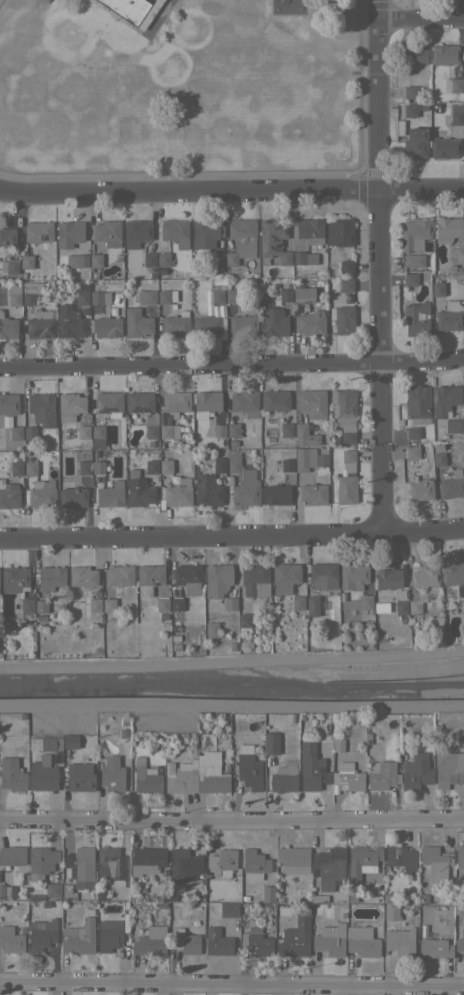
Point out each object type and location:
building: (129, 10)
road: (421, 18)
building: (414, 53)
building: (444, 53)
building: (453, 85)
building: (409, 92)
building: (409, 110)
building: (456, 117)
building: (399, 127)
building: (463, 130)
building: (415, 143)
building: (444, 146)
road: (231, 188)
building: (173, 229)
building: (310, 230)
building: (38, 231)
building: (339, 231)
building: (136, 232)
building: (68, 233)
building: (205, 233)
building: (107, 234)
building: (414, 234)
building: (451, 235)
building: (7, 237)
building: (241, 240)
building: (273, 242)
building: (304, 258)
building: (149, 259)
building: (163, 259)
building: (217, 259)
building: (77, 260)
building: (95, 260)
building: (414, 260)
building: (26, 261)
building: (9, 265)
building: (346, 266)
road: (376, 266)
building: (452, 268)
building: (459, 269)
building: (217, 275)
building: (253, 275)
building: (22, 276)
building: (410, 279)
building: (346, 284)
building: (437, 288)
building: (29, 292)
building: (81, 292)
building: (14, 294)
building: (266, 295)
building: (285, 295)
building: (302, 295)
building: (166, 296)
building: (217, 296)
building: (231, 296)
building: (100, 297)
building: (147, 297)
building: (75, 298)
building: (266, 302)
building: (206, 311)
building: (463, 313)
building: (449, 316)
building: (416, 318)
building: (342, 319)
building: (71, 320)
building: (273, 321)
building: (310, 322)
building: (137, 323)
building: (40, 324)
building: (175, 324)
building: (242, 325)
building: (107, 326)
building: (206, 326)
building: (7, 327)
building: (296, 338)
road: (232, 363)
building: (445, 399)
building: (275, 400)
building: (139, 401)
building: (176, 401)
building: (245, 402)
building: (109, 403)
building: (206, 403)
building: (312, 403)
building: (8, 404)
building: (417, 404)
building: (69, 406)
building: (342, 406)
building: (41, 408)
building: (456, 421)
building: (151, 426)
building: (286, 429)
building: (218, 430)
building: (233, 430)
building: (165, 431)
building: (29, 432)
building: (83, 432)
building: (15, 433)
building: (306, 434)
building: (412, 435)
building: (60, 436)
building: (97, 436)
building: (348, 437)
building: (232, 442)
building: (151, 443)
building: (438, 448)
building: (323, 449)
building: (25, 452)
building: (411, 452)
building: (186, 455)
building: (348, 455)
building: (28, 458)
building: (195, 459)
building: (438, 459)
building: (303, 460)
building: (321, 460)
building: (287, 464)
building: (218, 465)
building: (233, 465)
building: (151, 466)
building: (166, 466)
building: (83, 467)
building: (98, 467)
building: (16, 468)
building: (30, 468)
building: (247, 473)
building: (452, 485)
building: (419, 488)
building: (346, 489)
building: (139, 490)
building: (207, 490)
building: (245, 492)
building: (178, 493)
building: (313, 493)
building: (9, 494)
building: (41, 494)
building: (110, 494)
building: (276, 494)
building: (72, 495)
road: (232, 534)
building: (453, 573)
building: (119, 575)
building: (322, 575)
building: (353, 575)
building: (82, 576)
building: (50, 577)
building: (284, 577)
building: (424, 577)
building: (149, 578)
building: (387, 578)
building: (14, 579)
building: (188, 579)
building: (217, 580)
building: (255, 580)
building: (459, 590)
building: (463, 598)
building: (297, 602)
building: (312, 602)
building: (176, 603)
building: (230, 603)
building: (357, 603)
building: (162, 604)
building: (94, 605)
building: (109, 605)
building: (27, 606)
building: (41, 606)
building: (414, 606)
building: (400, 607)
building: (391, 610)
building: (162, 615)
building: (41, 616)
building: (414, 617)
building: (244, 620)
building: (262, 624)
building: (175, 626)
building: (211, 629)
building: (172, 645)
building: (231, 645)
building: (174, 652)
building: (292, 717)
building: (123, 721)
building: (301, 731)
building: (462, 734)
building: (367, 735)
building: (200, 739)
building: (70, 741)
building: (47, 743)
building: (270, 743)
building: (191, 745)
building: (338, 745)
building: (311, 767)
building: (447, 769)
building: (249, 771)
building: (416, 772)
building: (111, 773)
building: (11, 774)
building: (43, 775)
building: (381, 775)
building: (284, 776)
building: (80, 777)
building: (145, 777)
building: (181, 777)
building: (348, 777)
building: (213, 783)
road: (232, 818)
building: (460, 854)
building: (12, 855)
building: (401, 858)
building: (293, 860)
building: (149, 861)
building: (362, 861)
building: (41, 862)
building: (111, 862)
building: (222, 862)
building: (435, 863)
building: (184, 864)
building: (253, 864)
building: (329, 867)
building: (80, 868)
building: (114, 885)
building: (141, 888)
building: (53, 889)
building: (2, 891)
building: (67, 892)
building: (268, 893)
building: (277, 893)
building: (100, 895)
building: (35, 896)
building: (244, 897)
building: (352, 898)
building: (386, 898)
building: (423, 898)
building: (279, 899)
building: (46, 904)
building: (161, 905)
building: (268, 908)
building: (459, 909)
building: (229, 910)
building: (89, 911)
building: (391, 912)
building: (15, 929)
building: (41, 934)
building: (109, 934)
building: (296, 935)
building: (79, 937)
building: (11, 939)
building: (185, 939)
building: (330, 939)
building: (150, 941)
building: (362, 941)
building: (400, 941)
building: (217, 942)
building: (256, 942)
building: (460, 942)
building: (434, 947)
road: (232, 983)

